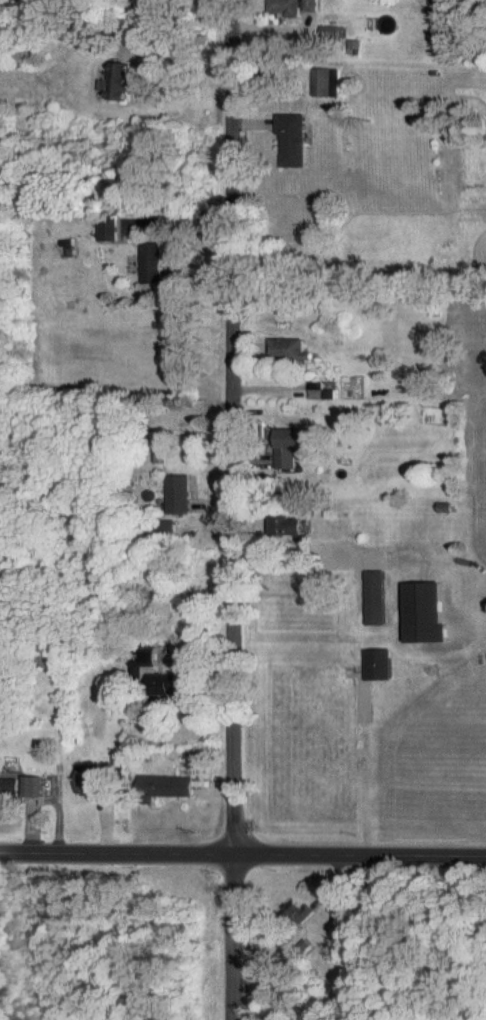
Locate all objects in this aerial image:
building: (295, 7)
building: (331, 32)
building: (117, 82)
building: (327, 82)
building: (293, 140)
building: (107, 229)
building: (151, 266)
building: (287, 350)
building: (317, 392)
building: (290, 447)
building: (178, 493)
building: (444, 507)
road: (234, 510)
building: (289, 527)
road: (303, 562)
building: (375, 598)
building: (424, 614)
building: (143, 661)
building: (377, 665)
building: (164, 685)
building: (90, 777)
building: (9, 787)
building: (33, 787)
building: (165, 788)
road: (243, 855)
building: (295, 912)
building: (300, 947)

